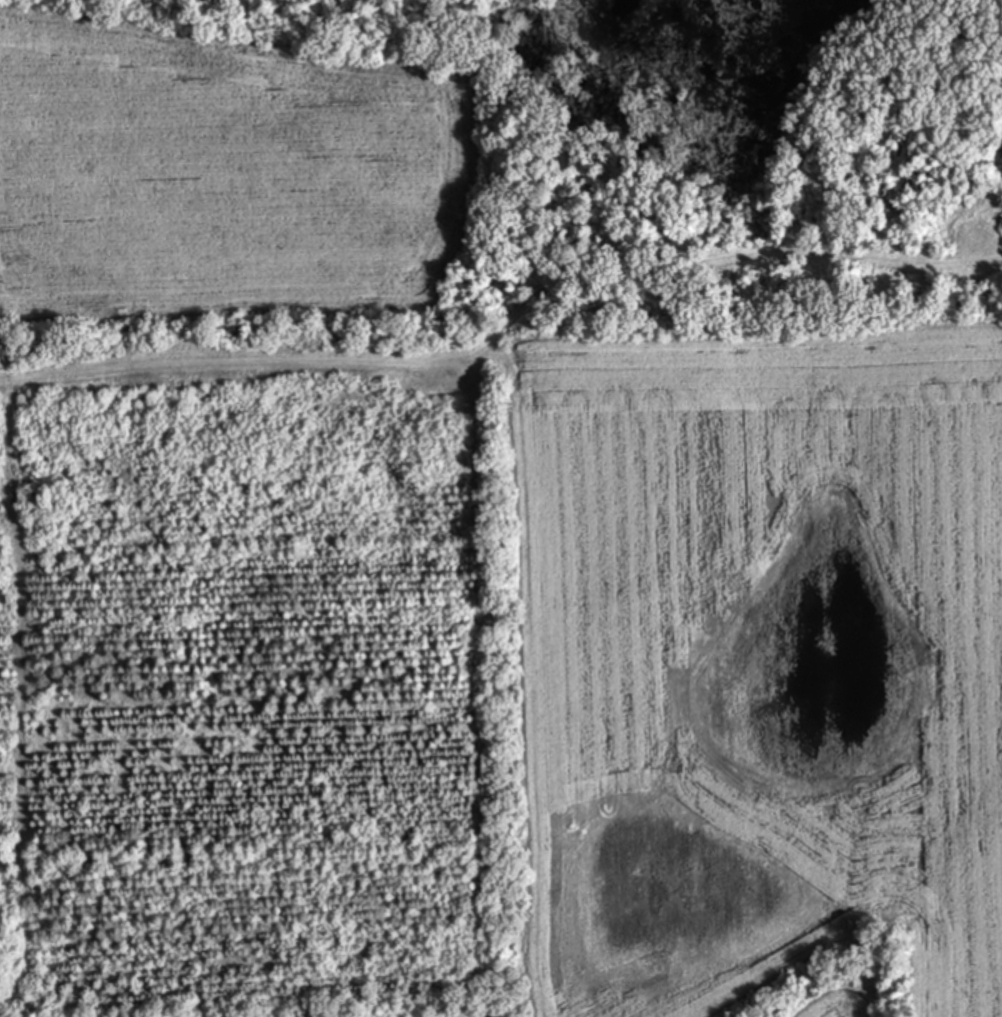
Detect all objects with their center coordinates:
road: (879, 1016)

